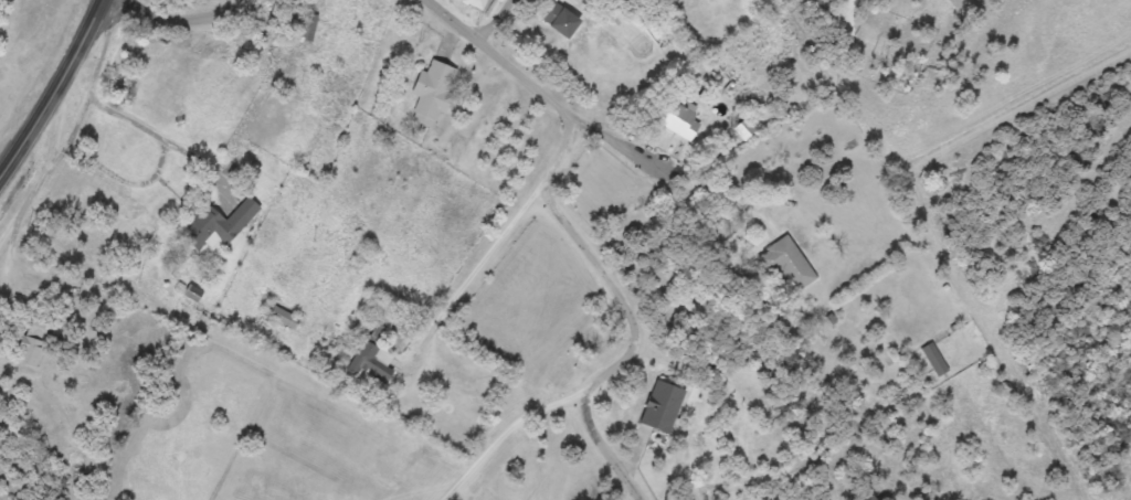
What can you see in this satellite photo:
building: (480, 3)
road: (194, 8)
building: (559, 19)
building: (308, 26)
road: (54, 87)
building: (433, 93)
building: (679, 119)
building: (743, 129)
building: (219, 224)
road: (594, 238)
building: (788, 263)
building: (282, 316)
road: (237, 325)
building: (934, 359)
building: (371, 362)
building: (662, 406)
road: (445, 493)

